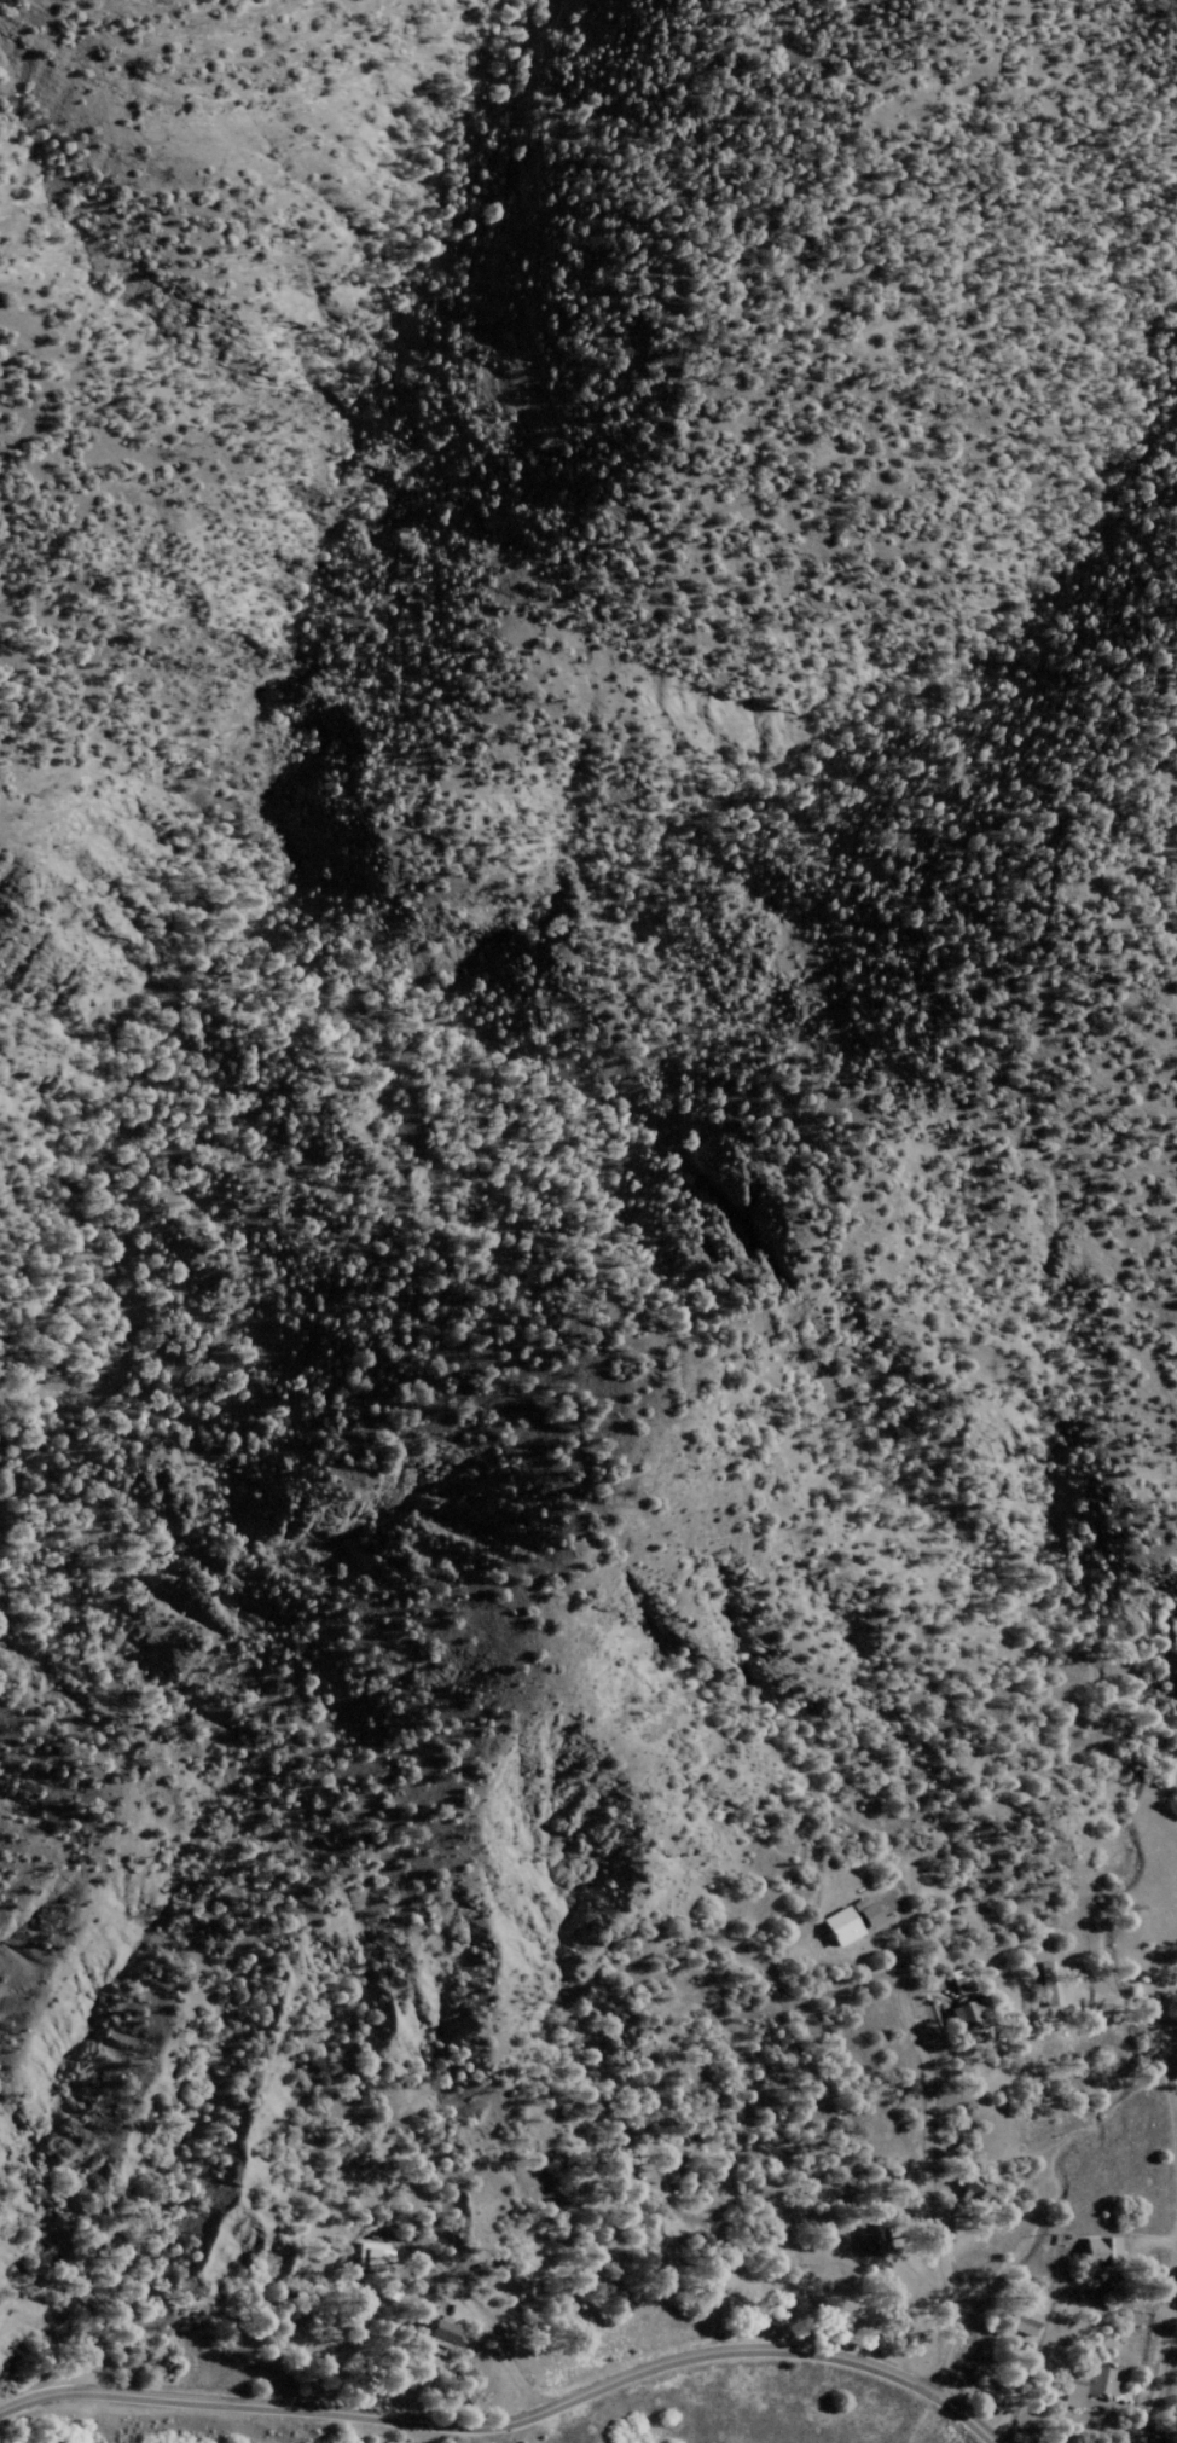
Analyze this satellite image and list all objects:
building: (847, 1922)
building: (1045, 1986)
road: (1126, 1988)
building: (968, 2015)
road: (1170, 2042)
road: (924, 2165)
building: (868, 2241)
building: (1100, 2255)
road: (1102, 2258)
building: (370, 2259)
road: (48, 2276)
building: (388, 2293)
road: (476, 2314)
road: (969, 2357)
road: (1162, 2367)
building: (1094, 2385)
road: (506, 2431)
road: (533, 2432)

